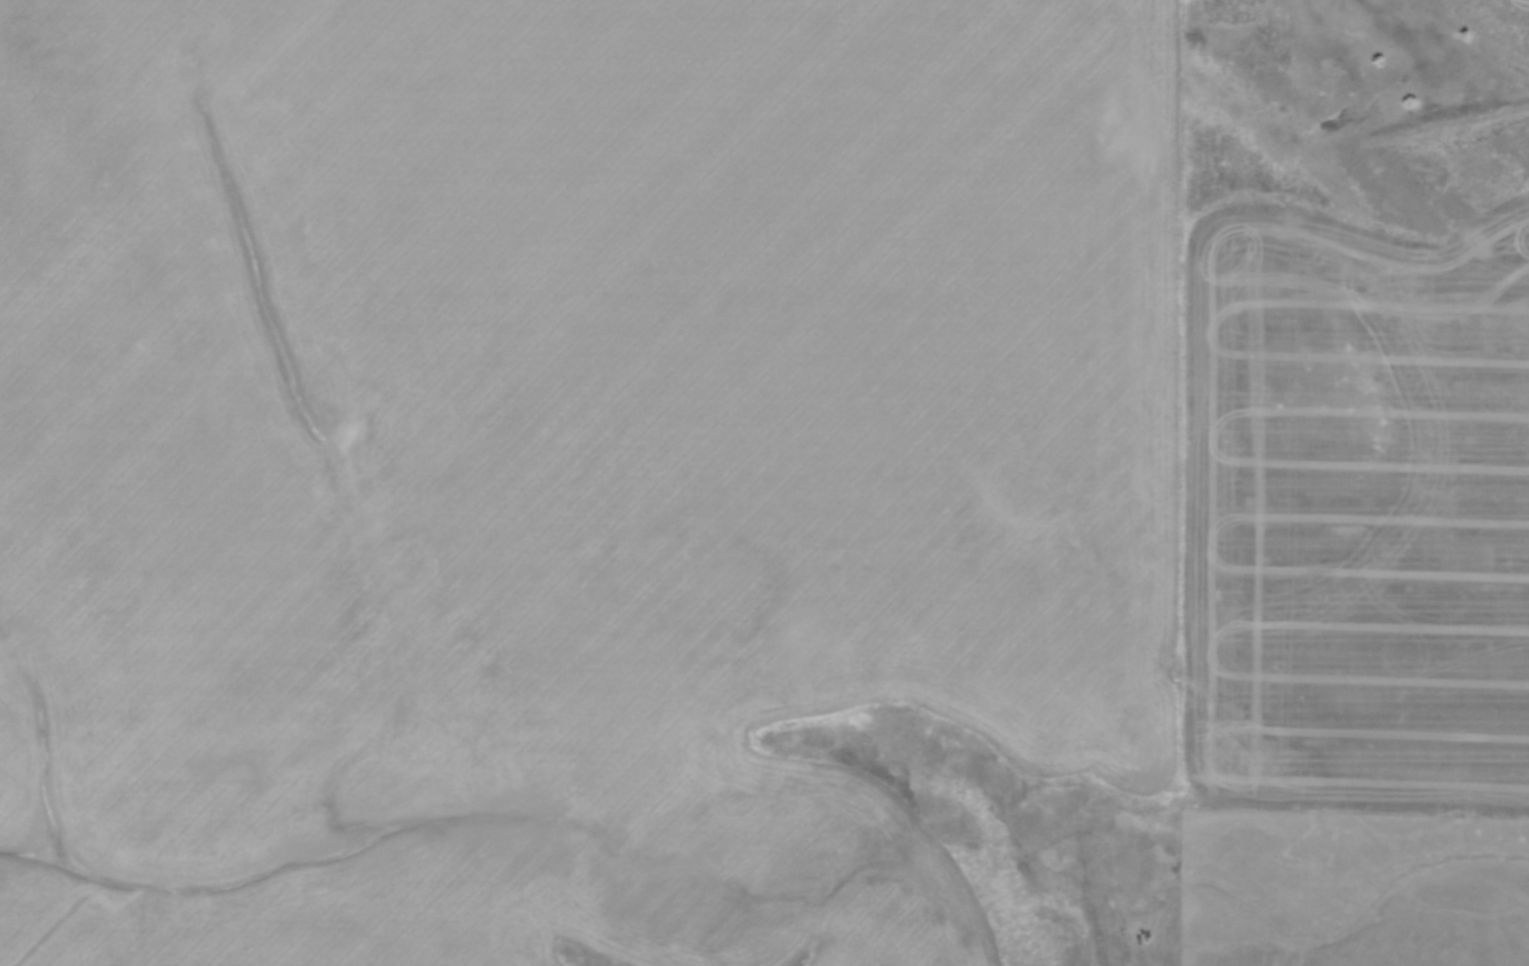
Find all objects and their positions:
crop: (1512, 9)
dam: (1453, 123)
crop: (692, 472)
dam: (1099, 908)

